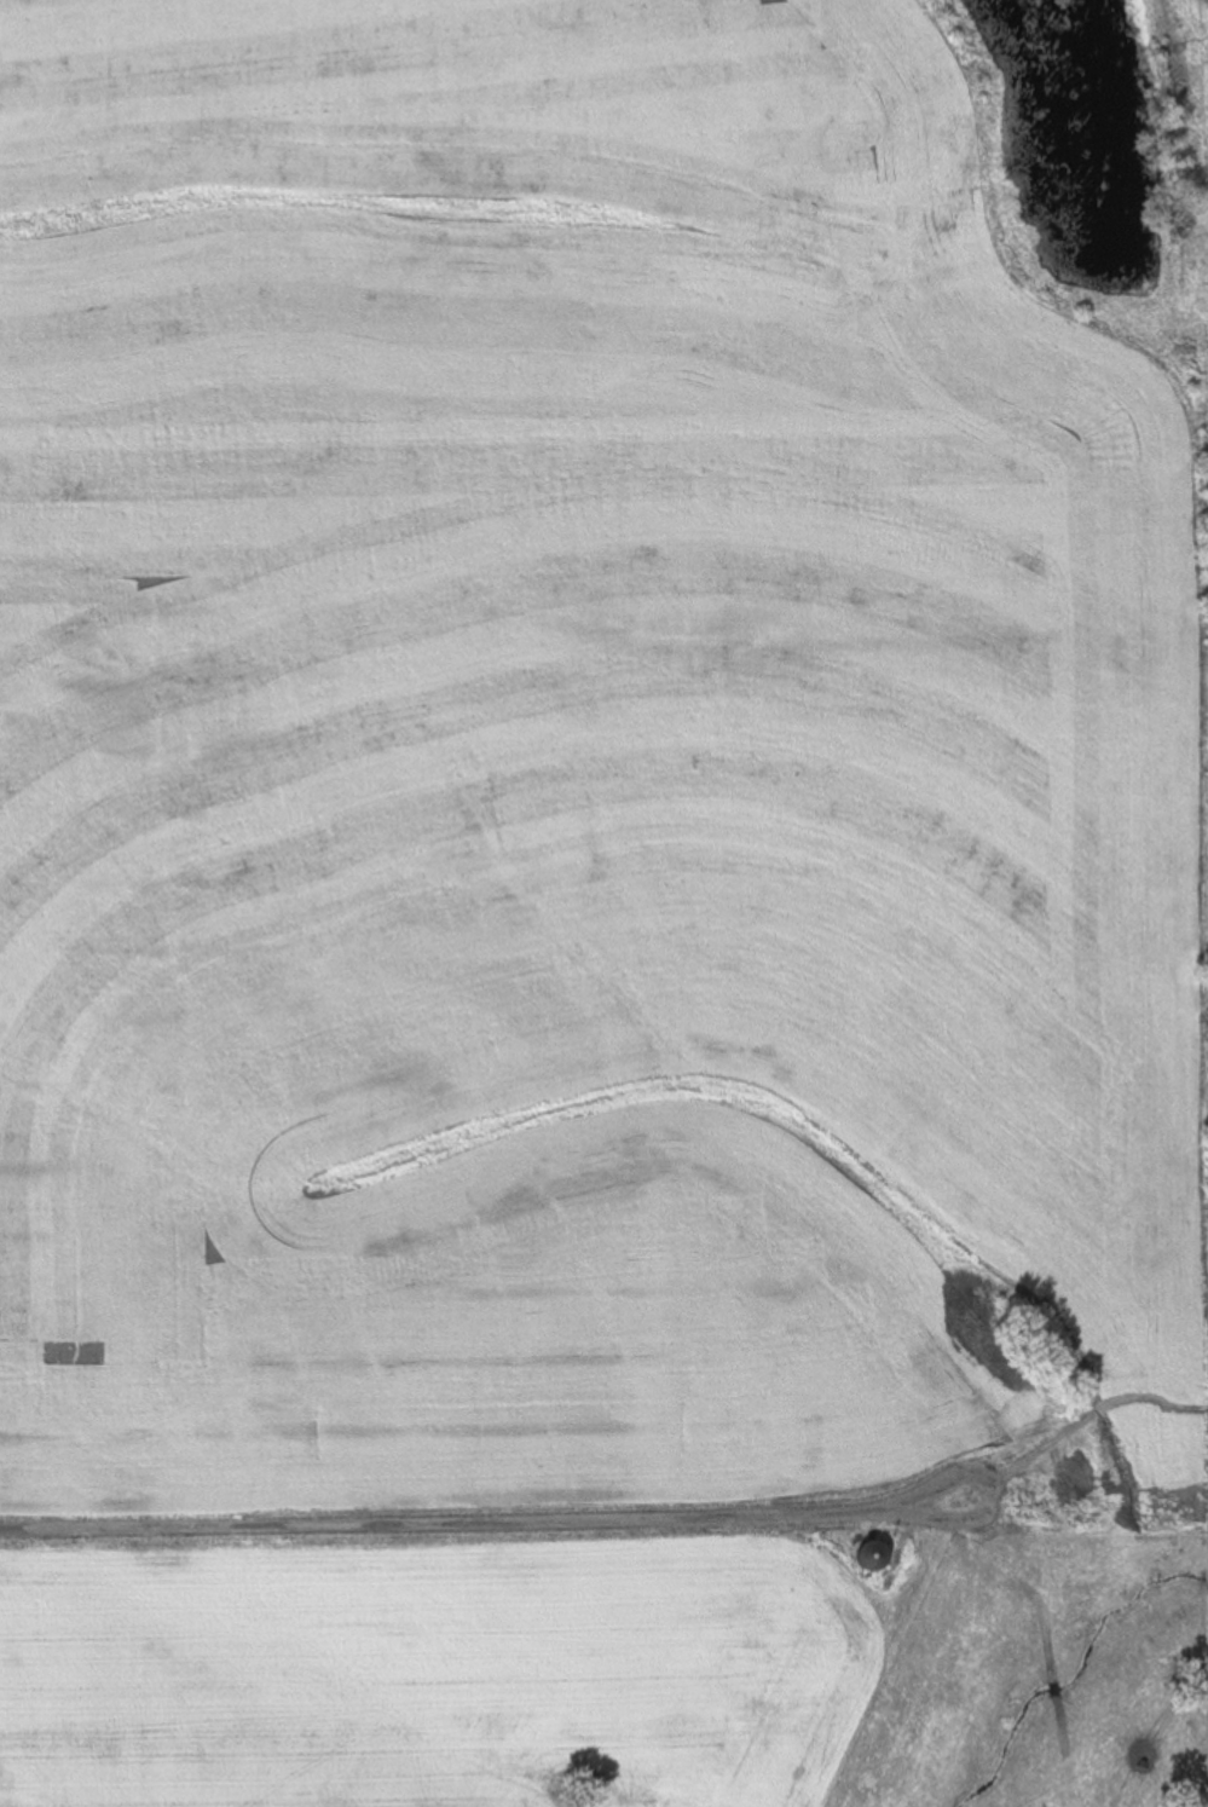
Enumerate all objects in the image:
road: (999, 1491)
road: (437, 1523)
building: (877, 1558)

